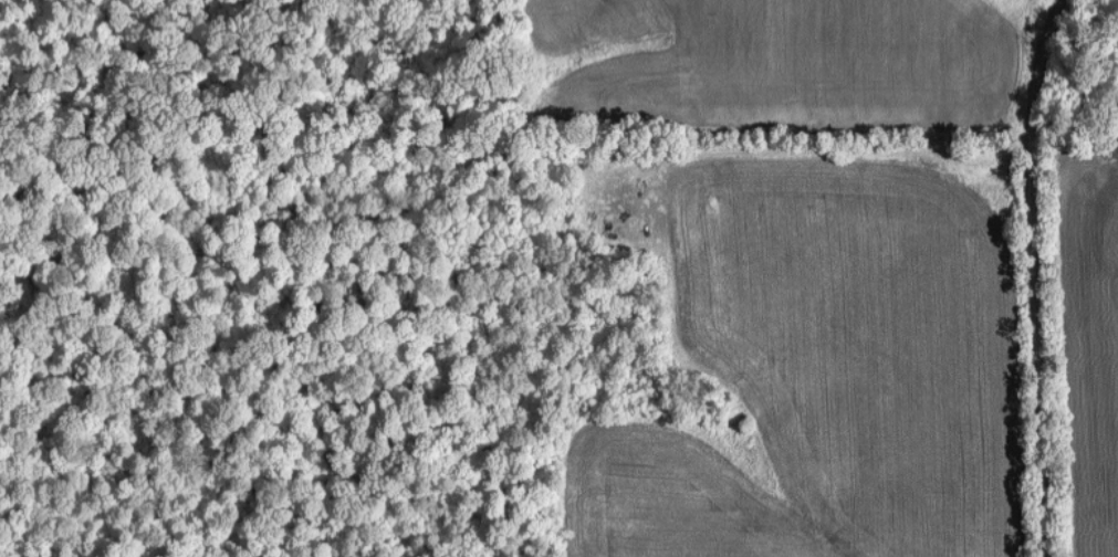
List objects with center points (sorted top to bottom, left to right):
road: (1033, 276)

